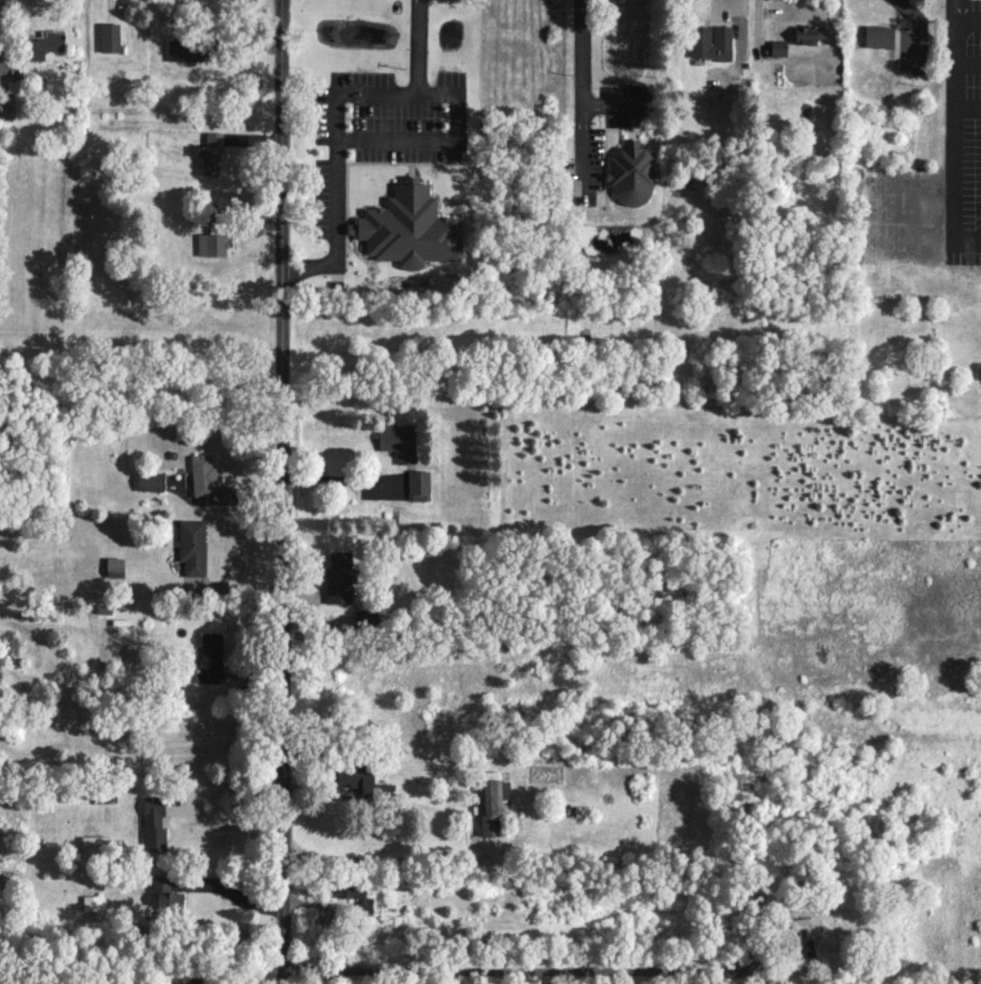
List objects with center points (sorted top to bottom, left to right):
road: (739, 23)
road: (954, 32)
building: (877, 36)
building: (108, 38)
building: (797, 41)
building: (43, 44)
road: (416, 47)
building: (190, 49)
building: (711, 54)
road: (580, 83)
road: (362, 94)
building: (6, 105)
building: (208, 154)
building: (630, 174)
building: (408, 229)
building: (397, 442)
building: (201, 475)
road: (335, 478)
building: (148, 481)
building: (417, 485)
road: (278, 492)
building: (190, 546)
building: (113, 567)
building: (337, 576)
building: (363, 782)
building: (490, 803)
building: (152, 824)
road: (226, 825)
building: (93, 846)
building: (163, 894)
building: (353, 894)
road: (229, 897)
building: (197, 978)

